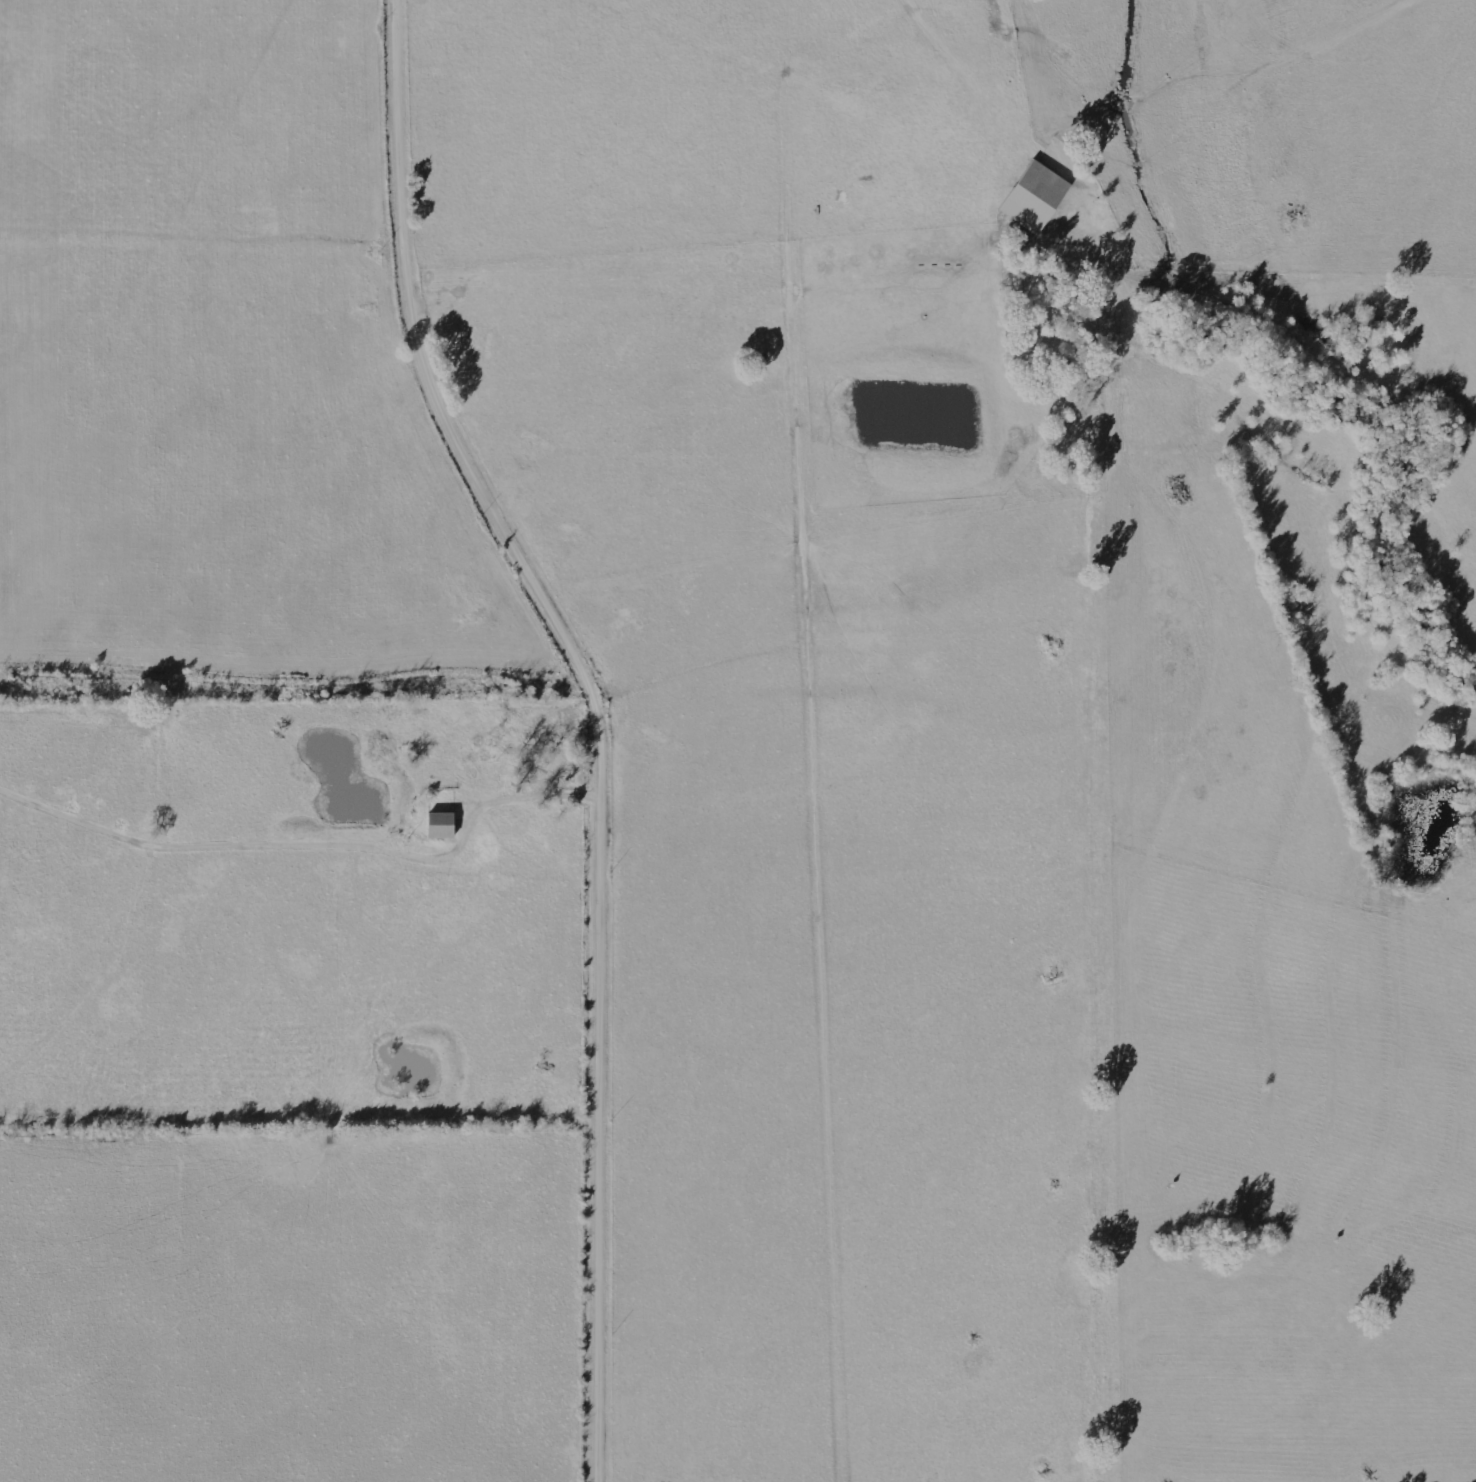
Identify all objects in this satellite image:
building: (1039, 198)
road: (603, 719)
building: (445, 826)
road: (310, 864)

